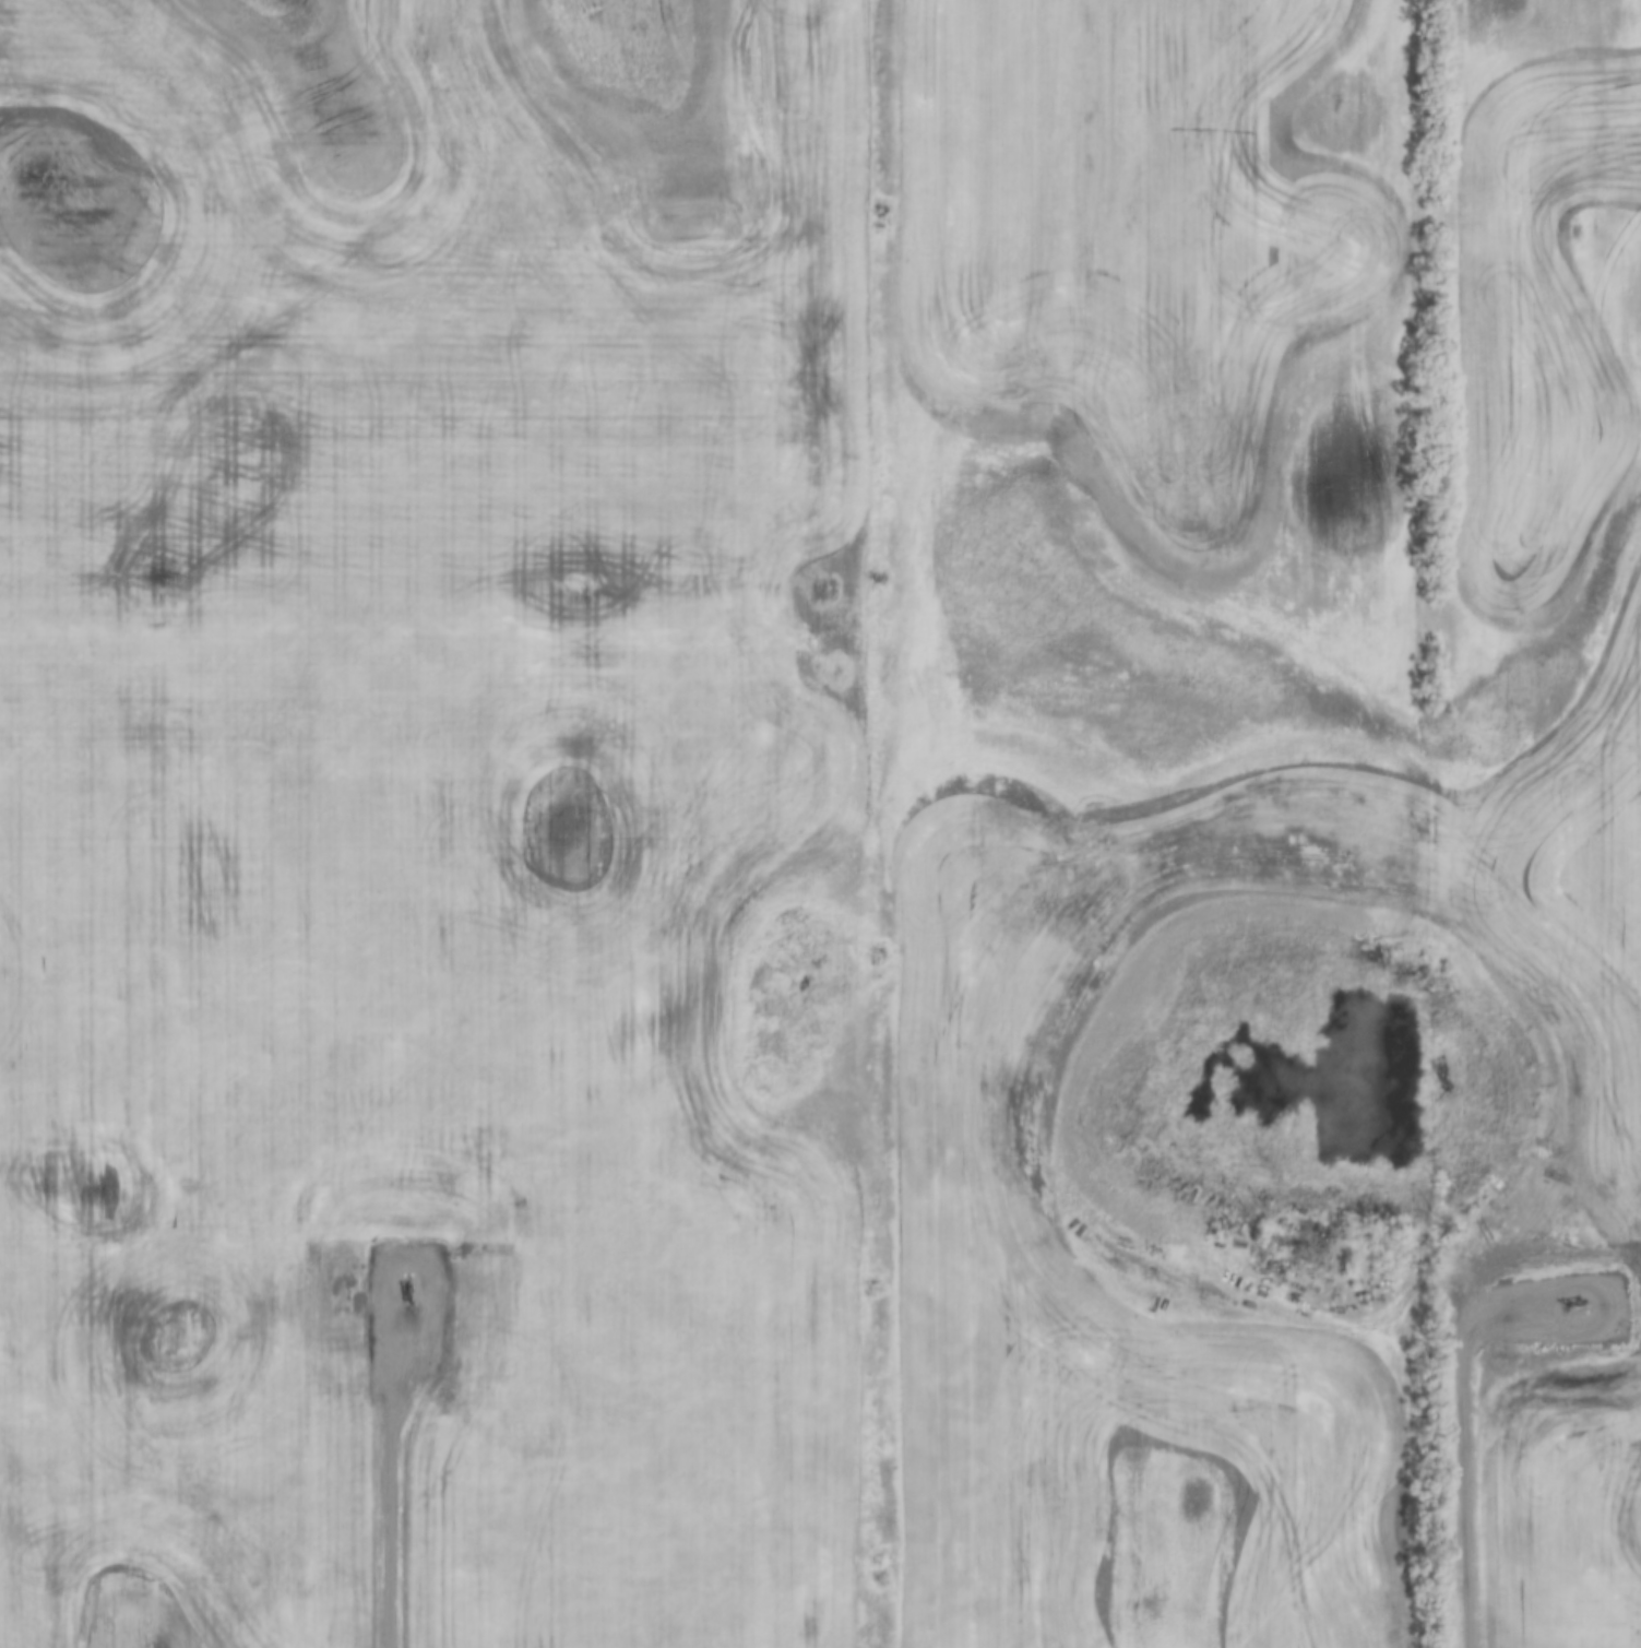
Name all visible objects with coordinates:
road: (1452, 1459)

